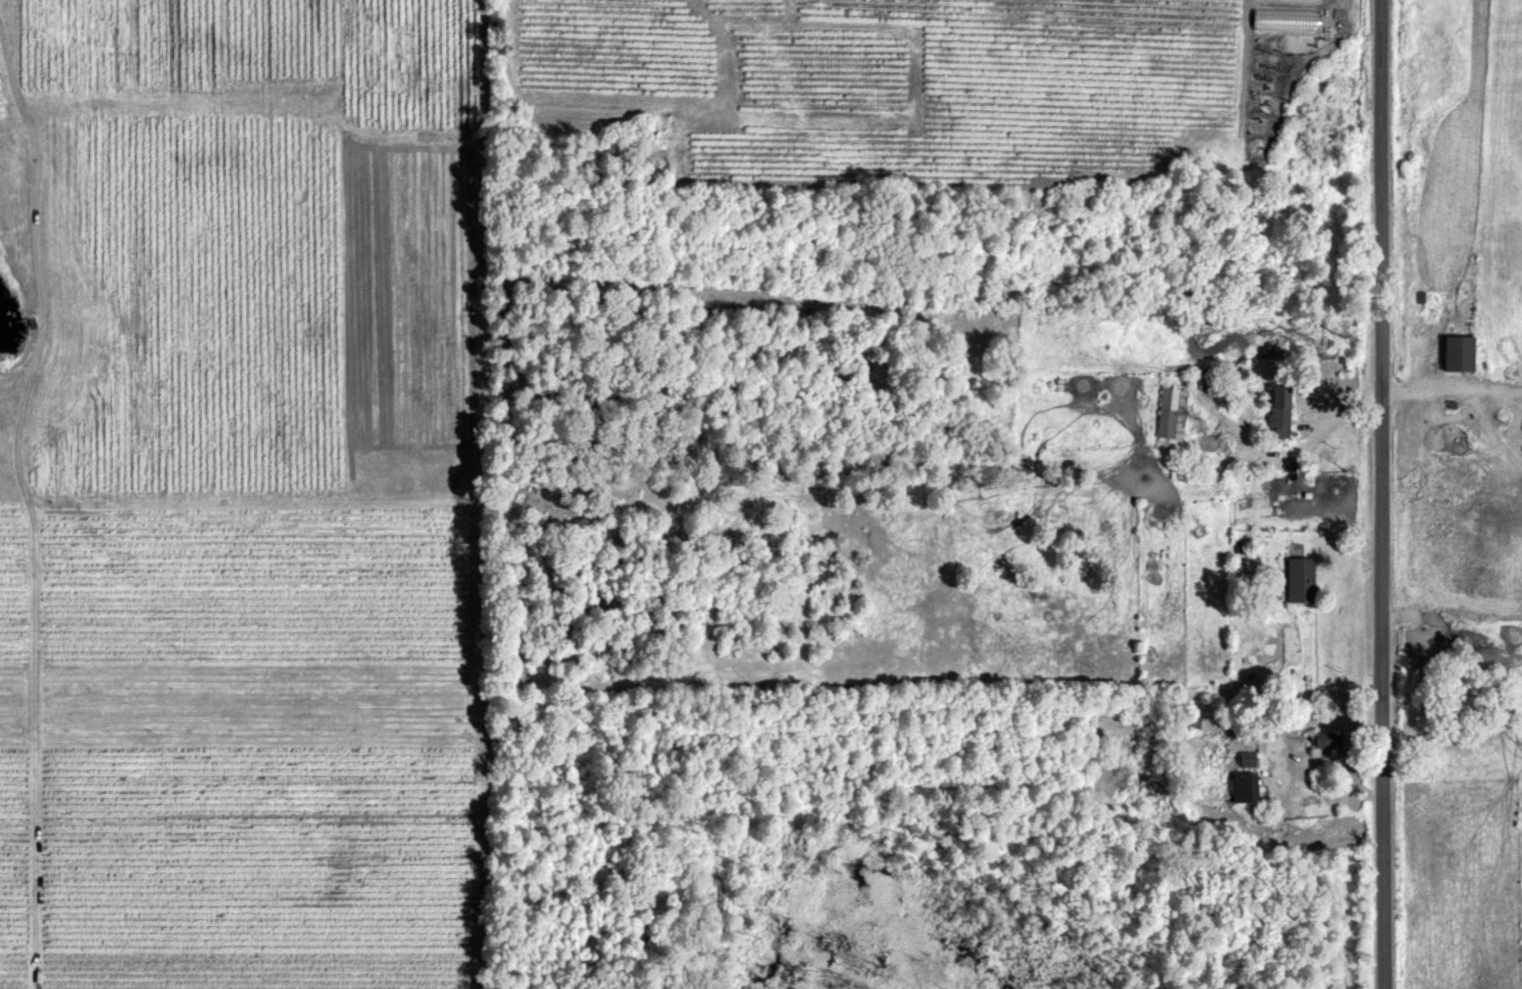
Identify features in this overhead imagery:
road: (1246, 3)
building: (1283, 18)
building: (1455, 353)
road: (1453, 384)
building: (1278, 411)
building: (1170, 412)
road: (1386, 494)
building: (1299, 579)
building: (1325, 739)
building: (1245, 758)
building: (1243, 785)

